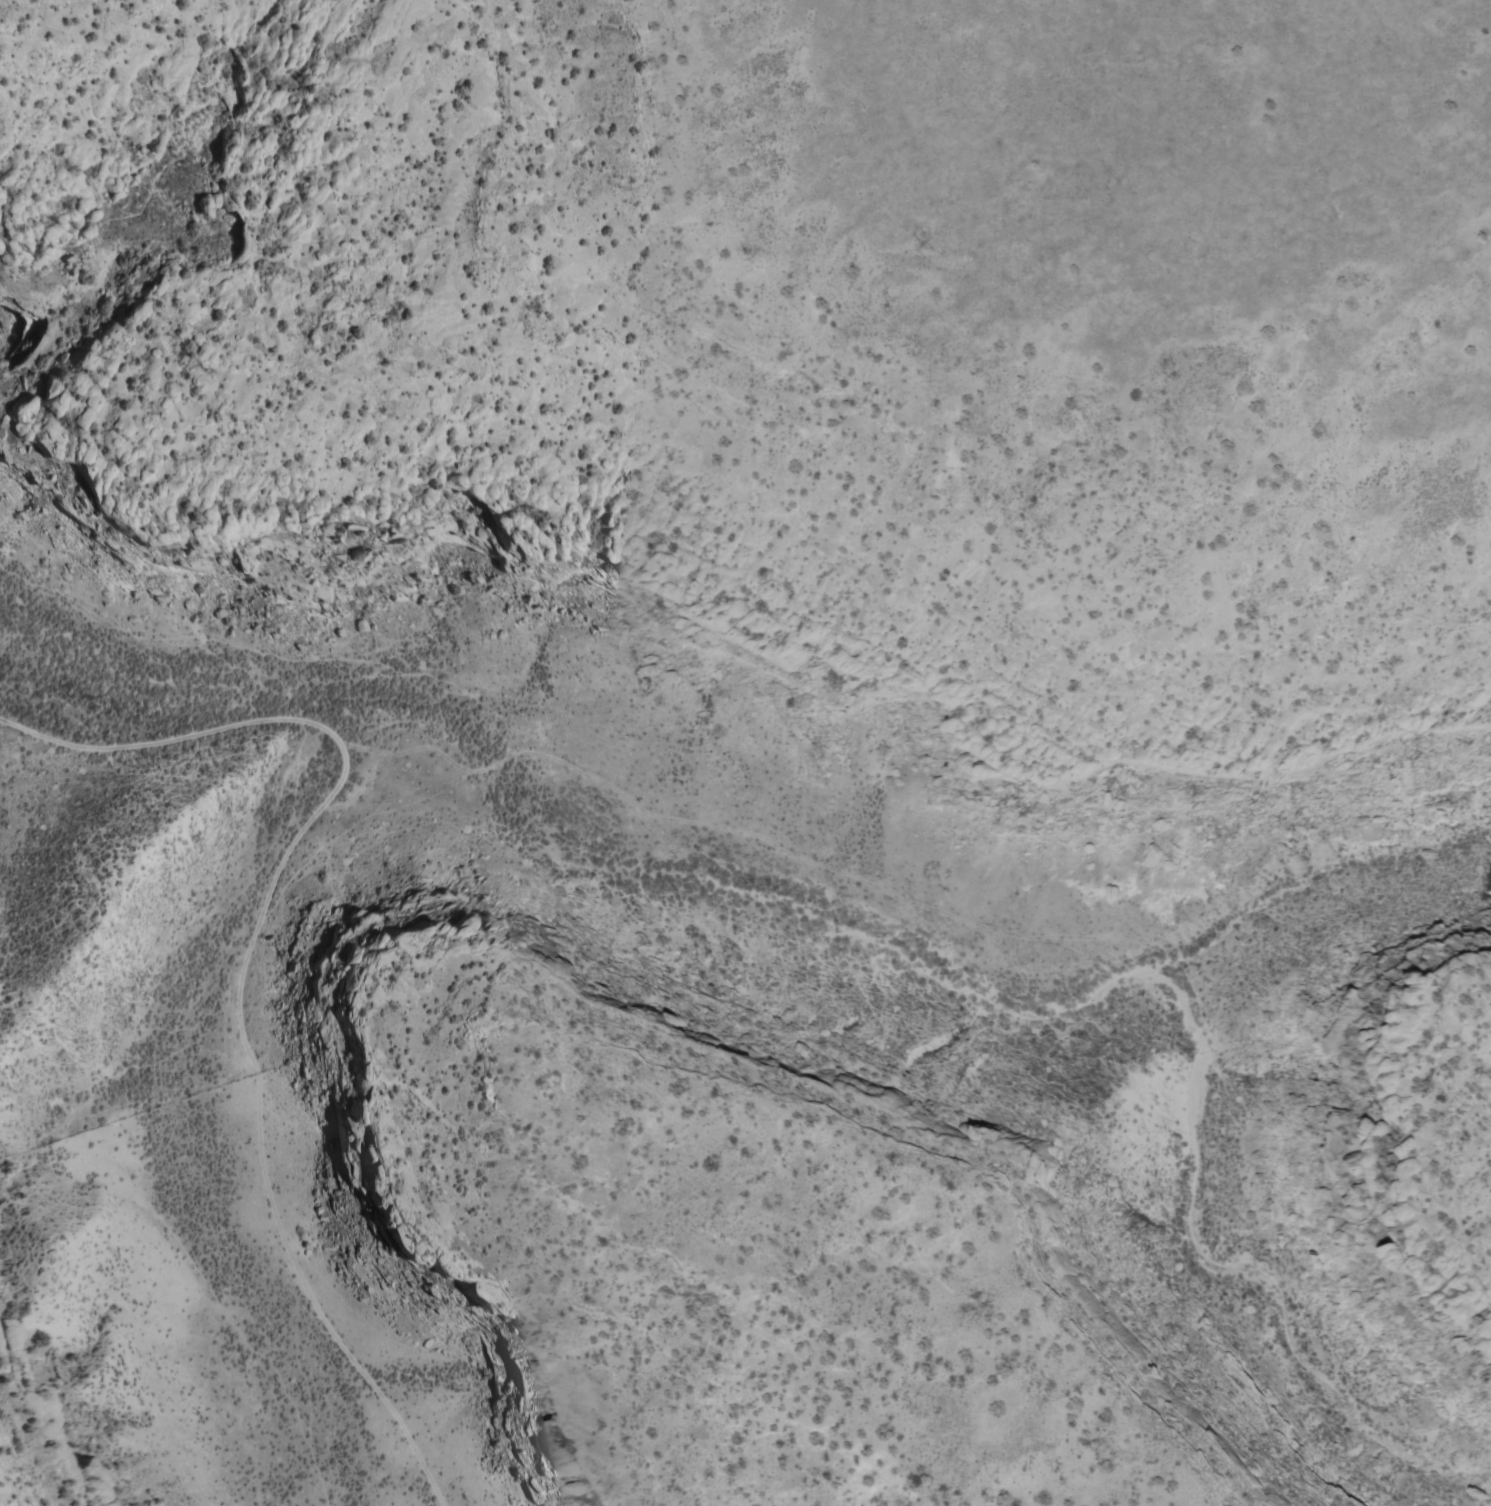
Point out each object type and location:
river: (212, 957)
road: (312, 963)

